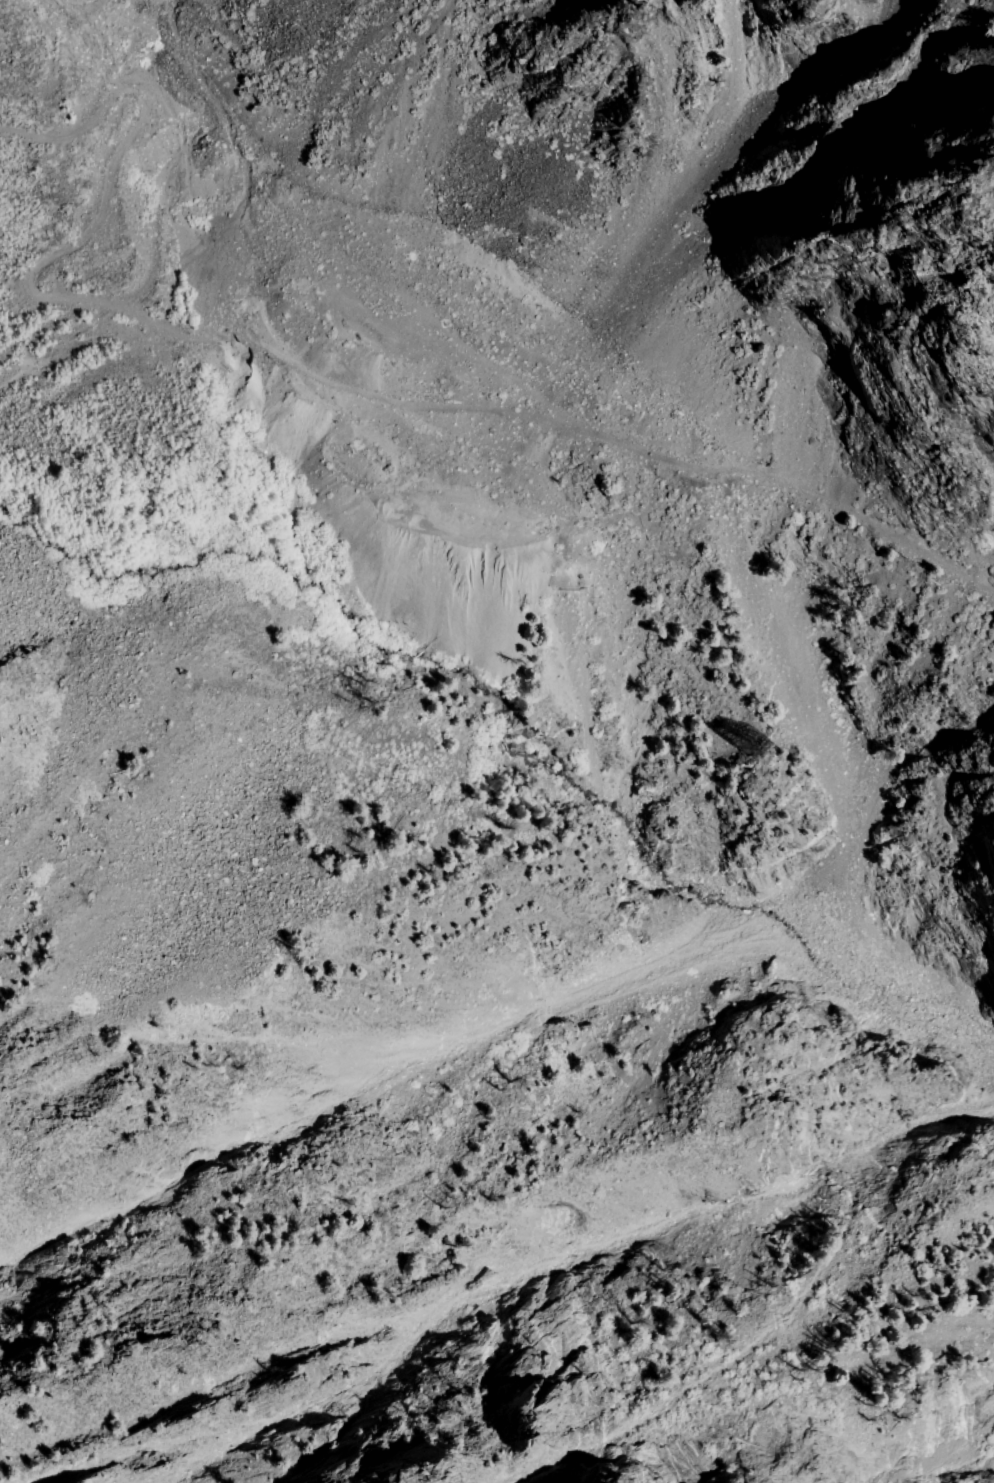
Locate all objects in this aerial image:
road: (482, 362)
road: (313, 370)
aerialway pylon: (746, 741)

